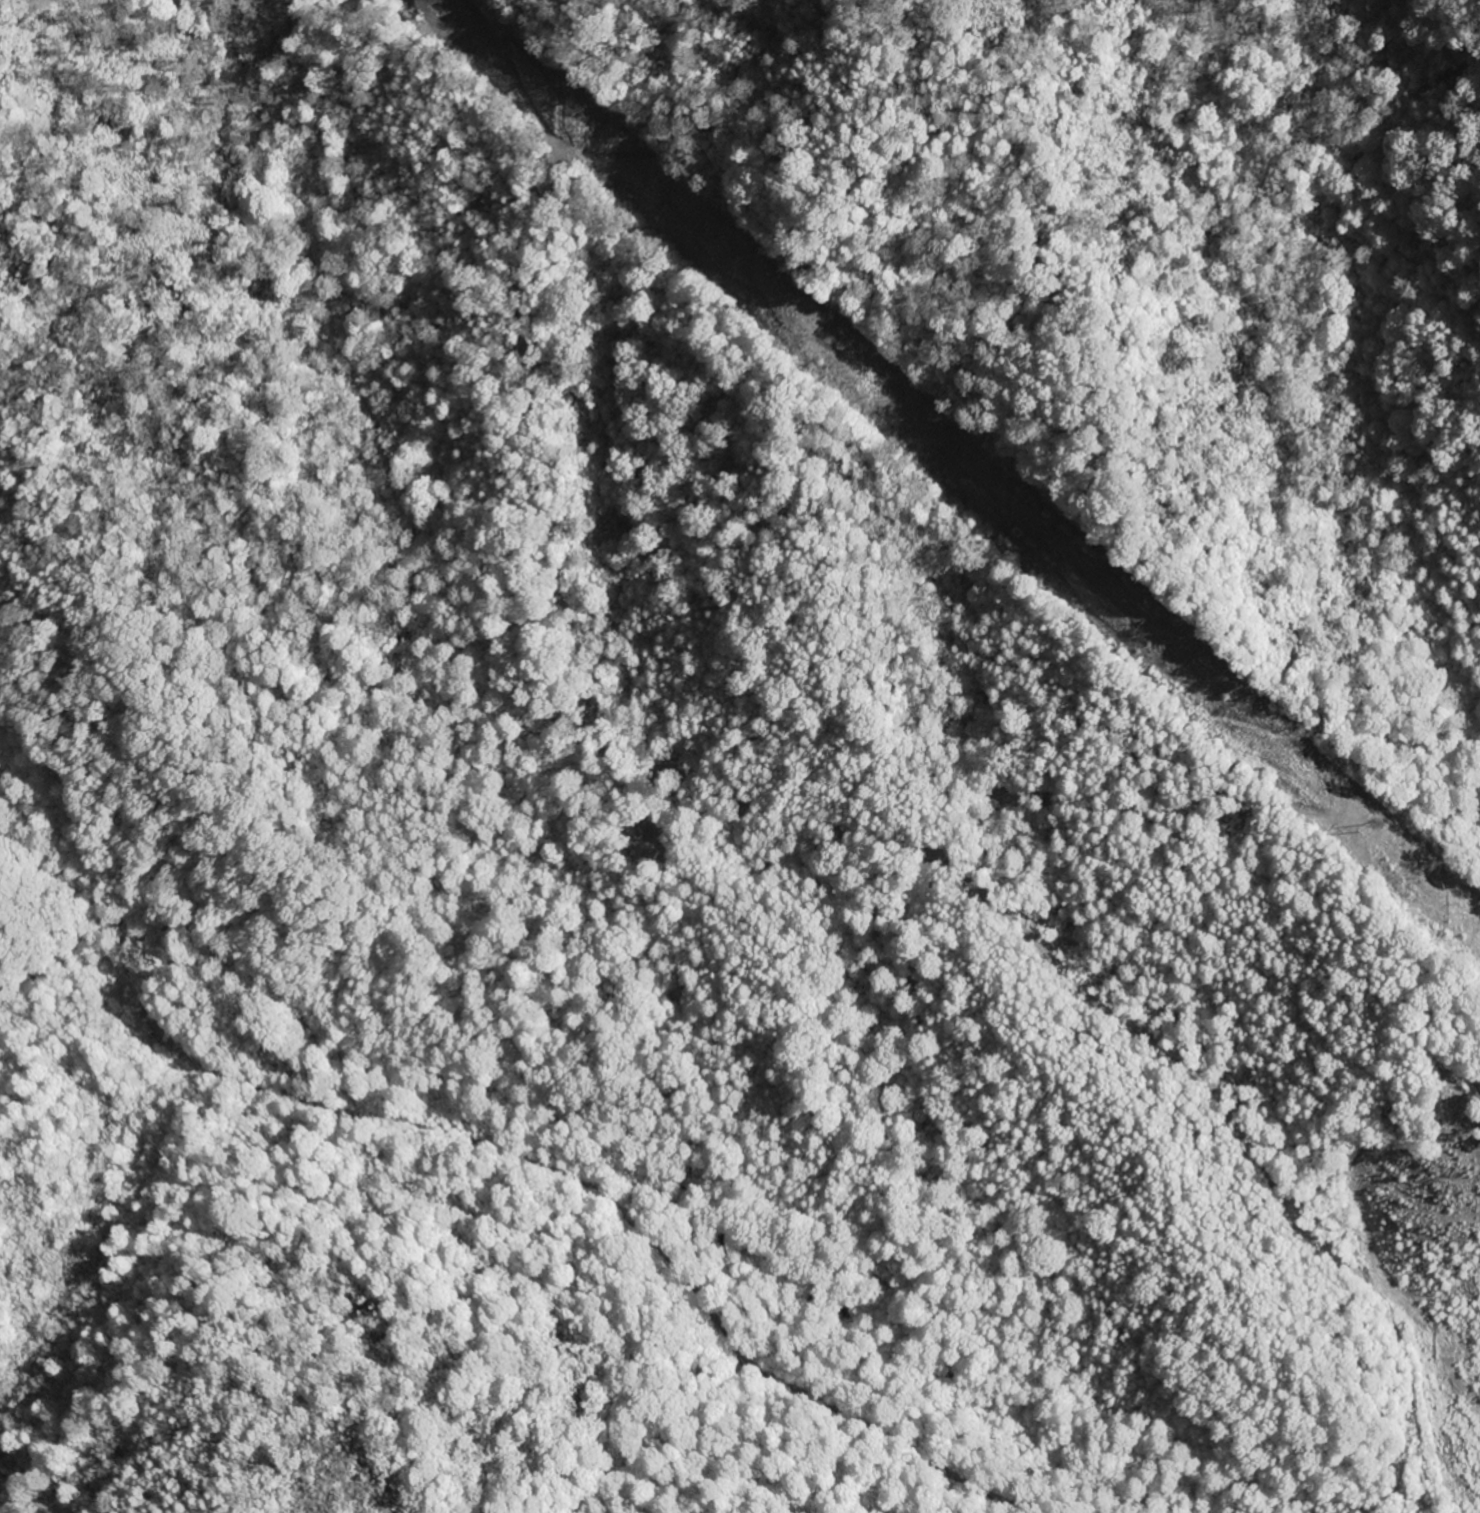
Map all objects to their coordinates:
power tower: (1140, 628)
road: (1309, 786)
road: (648, 830)

